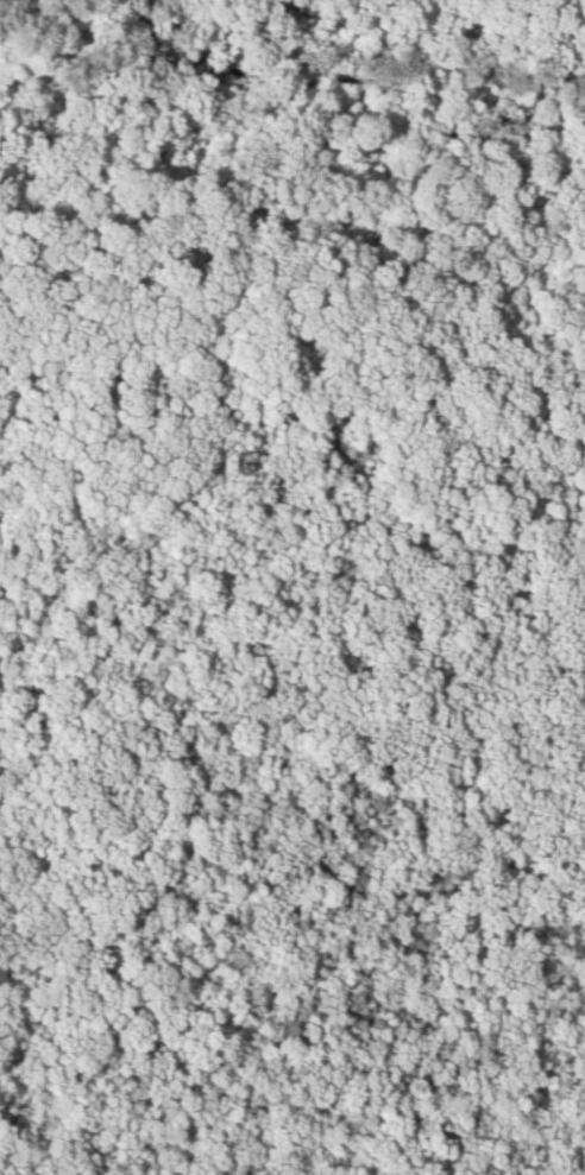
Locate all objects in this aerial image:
road: (361, 283)
park: (292, 587)
park: (292, 587)
road: (0, 966)
road: (402, 1005)

